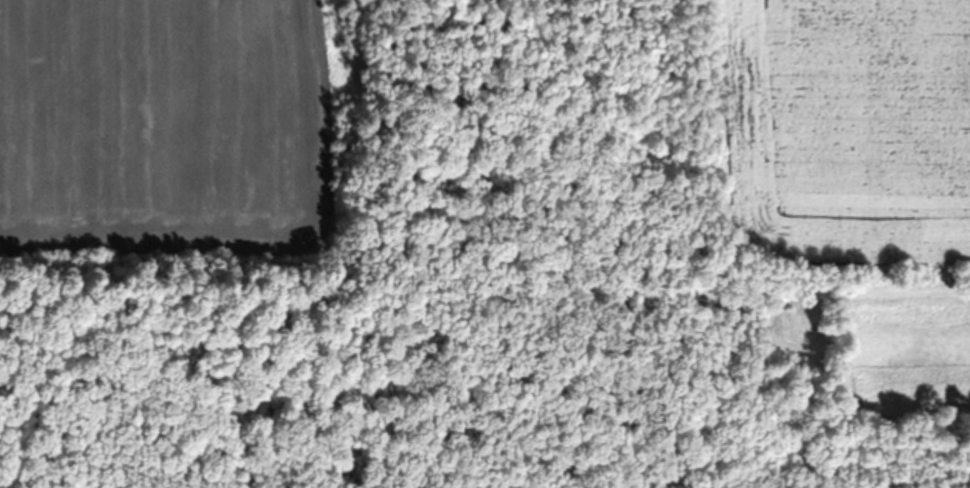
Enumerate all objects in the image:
airport: (351, 135)

